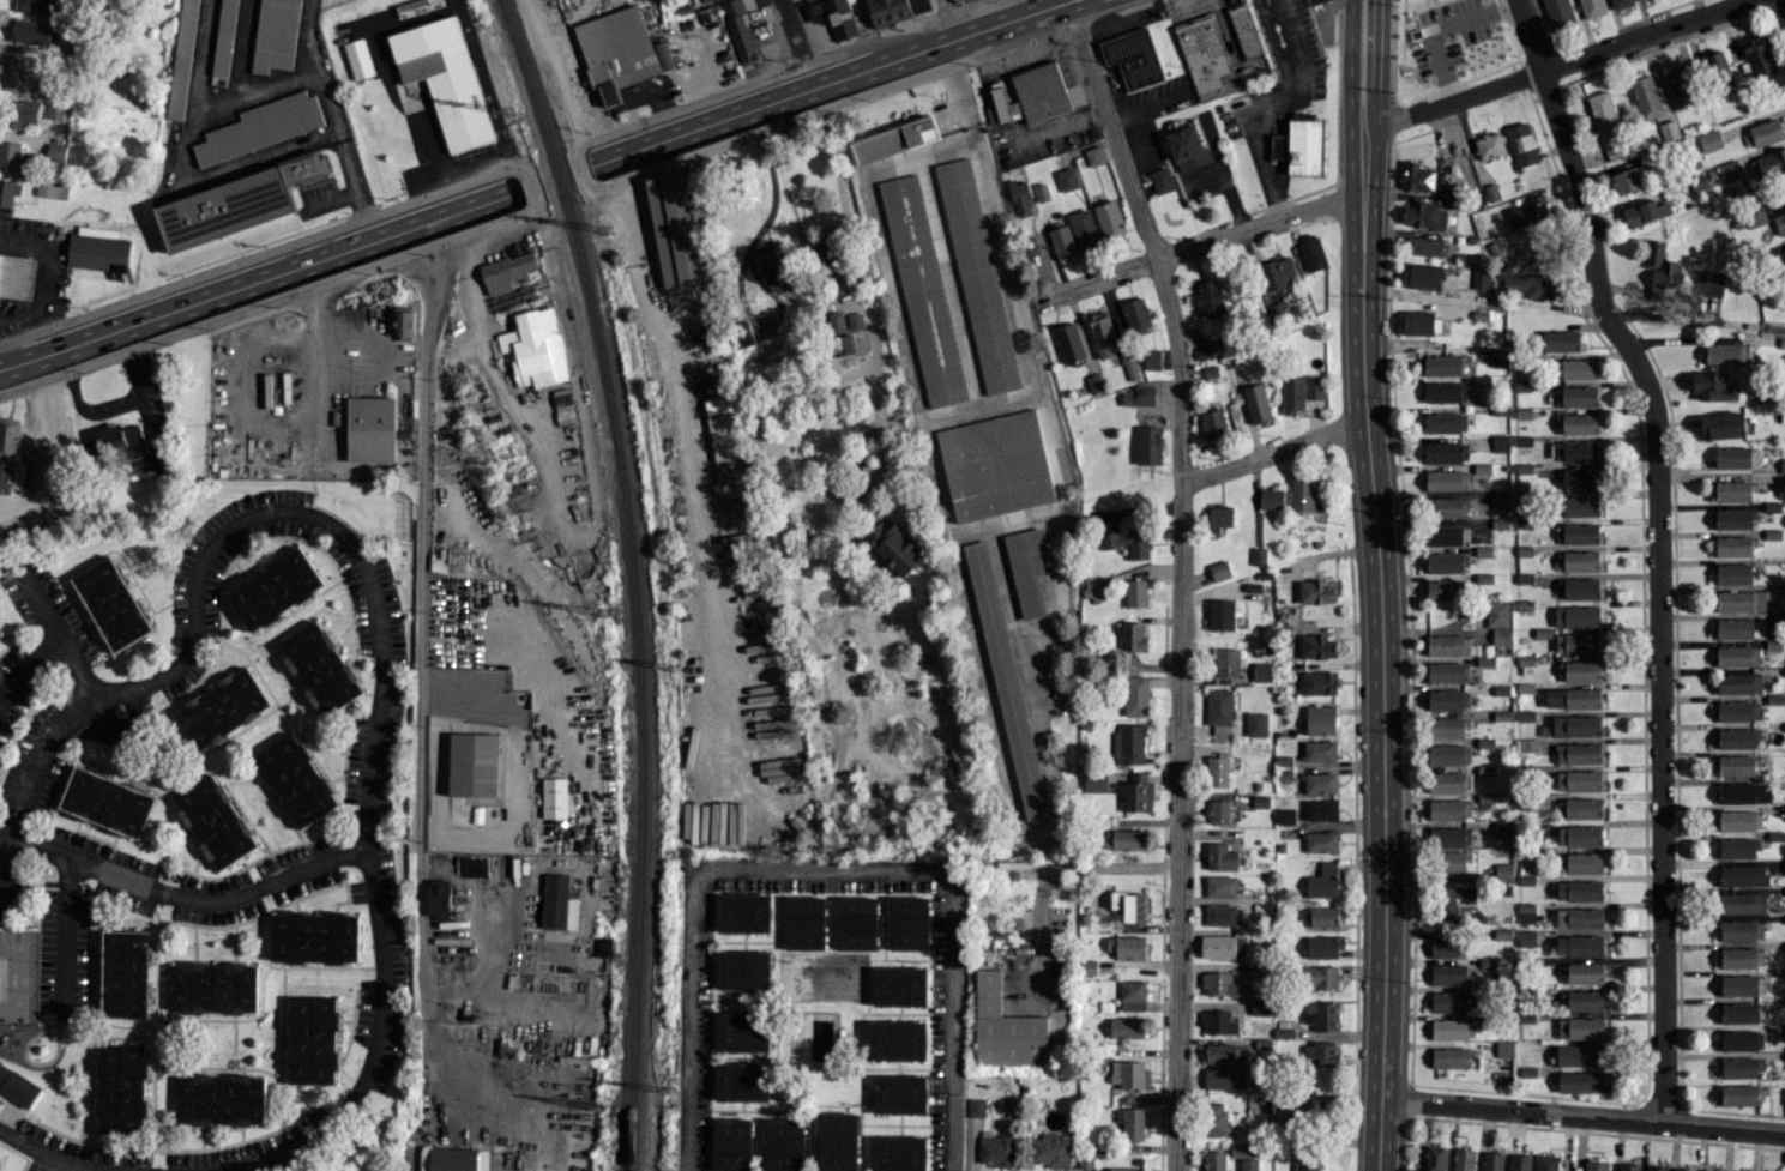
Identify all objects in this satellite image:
building: (706, 0)
building: (1640, 0)
building: (1314, 1)
building: (1621, 4)
building: (919, 5)
road: (1051, 5)
road: (1783, 5)
building: (34, 6)
building: (1590, 8)
building: (888, 11)
building: (1558, 13)
building: (833, 16)
building: (1244, 29)
road: (1443, 29)
road: (982, 30)
building: (32, 31)
building: (740, 31)
road: (790, 32)
building: (275, 35)
building: (223, 42)
building: (620, 50)
building: (1759, 55)
building: (358, 59)
building: (1134, 59)
building: (1207, 59)
building: (182, 60)
road: (1349, 64)
road: (1555, 64)
road: (1379, 65)
road: (555, 71)
building: (1720, 73)
building: (19, 77)
railway: (526, 78)
building: (445, 79)
road: (744, 84)
building: (1681, 85)
building: (1039, 92)
building: (1646, 97)
road: (1259, 99)
building: (997, 105)
building: (54, 109)
road: (1145, 109)
power tower: (508, 110)
road: (815, 111)
building: (19, 113)
building: (1608, 125)
building: (261, 126)
building: (1669, 131)
building: (1762, 133)
building: (893, 139)
building: (1709, 140)
building: (1521, 144)
building: (1489, 145)
building: (1186, 146)
building: (1304, 147)
building: (55, 151)
building: (8, 155)
building: (1094, 155)
building: (1768, 164)
road: (579, 169)
building: (1730, 170)
railway: (559, 175)
building: (1421, 177)
building: (1067, 179)
building: (1162, 180)
building: (1628, 180)
road: (529, 186)
building: (50, 187)
building: (8, 192)
road: (776, 193)
building: (1020, 198)
building: (237, 203)
road: (463, 209)
building: (1530, 212)
building: (1645, 212)
road: (845, 215)
building: (1424, 215)
building: (1756, 215)
building: (1110, 218)
building: (1780, 223)
road: (623, 225)
building: (680, 228)
power tower: (605, 230)
building: (1084, 230)
road: (1202, 241)
building: (1062, 242)
building: (1427, 247)
building: (98, 252)
road: (258, 253)
building: (0, 254)
building: (1313, 254)
building: (507, 271)
building: (776, 271)
building: (1663, 272)
building: (1277, 273)
building: (16, 276)
building: (978, 276)
building: (1422, 276)
building: (1481, 278)
building: (1708, 282)
building: (1526, 284)
building: (923, 290)
building: (1208, 300)
road: (270, 301)
building: (1277, 310)
building: (1136, 315)
building: (855, 320)
building: (402, 321)
building: (836, 321)
road: (1696, 321)
building: (1418, 322)
road: (766, 326)
building: (742, 333)
building: (1103, 334)
building: (1560, 340)
building: (1069, 342)
building: (1207, 349)
building: (1727, 354)
road: (319, 358)
building: (1442, 364)
building: (1574, 368)
road: (358, 370)
building: (754, 373)
building: (1711, 385)
road: (500, 386)
building: (1301, 391)
building: (1445, 391)
building: (1139, 394)
building: (1579, 397)
building: (1256, 403)
building: (1446, 422)
building: (1579, 423)
building: (1213, 424)
building: (1724, 425)
building: (370, 429)
building: (8, 435)
building: (120, 439)
building: (1500, 442)
building: (1148, 445)
building: (1574, 451)
road: (1272, 452)
building: (1446, 452)
building: (1737, 457)
building: (996, 465)
building: (1783, 465)
building: (11, 476)
building: (1446, 479)
building: (1581, 479)
building: (1731, 491)
building: (1302, 494)
road: (689, 497)
building: (1271, 499)
park: (367, 506)
building: (1580, 506)
building: (1443, 507)
building: (1219, 518)
building: (1733, 519)
building: (1580, 533)
building: (1446, 535)
building: (1128, 542)
building: (1733, 545)
building: (893, 547)
road: (1656, 548)
building: (1580, 560)
building: (1447, 562)
building: (1026, 568)
building: (1733, 573)
road: (1178, 577)
building: (1580, 587)
building: (275, 588)
building: (1446, 590)
building: (1096, 591)
building: (1315, 591)
building: (1135, 592)
building: (1741, 600)
building: (111, 604)
power tower: (603, 614)
building: (1497, 614)
building: (1220, 615)
building: (1576, 615)
building: (1741, 628)
road: (58, 636)
building: (1130, 636)
building: (1501, 636)
building: (1578, 644)
building: (1448, 645)
building: (1316, 646)
road: (1381, 648)
building: (1735, 656)
building: (1225, 662)
road: (25, 665)
power tower: (668, 665)
building: (321, 668)
building: (1582, 670)
building: (1261, 671)
building: (1447, 671)
railway: (634, 678)
building: (1007, 680)
building: (1319, 682)
building: (1739, 683)
road: (134, 688)
building: (1135, 695)
building: (1573, 698)
building: (1448, 699)
road: (420, 700)
building: (223, 708)
building: (1218, 711)
building: (1739, 711)
building: (1320, 719)
building: (1256, 724)
building: (1576, 725)
building: (1448, 728)
building: (1737, 738)
building: (1129, 743)
building: (1319, 750)
building: (1579, 753)
building: (1449, 754)
building: (474, 765)
building: (1736, 766)
building: (1217, 771)
building: (295, 780)
building: (1579, 780)
building: (1449, 781)
building: (1096, 783)
building: (1320, 783)
building: (1135, 792)
building: (1741, 792)
building: (555, 797)
building: (108, 802)
building: (1579, 808)
building: (1320, 809)
building: (1449, 809)
building: (1284, 816)
building: (1739, 820)
building: (215, 821)
building: (1503, 828)
building: (1579, 835)
building: (1451, 837)
road: (366, 839)
building: (1123, 839)
building: (1321, 841)
building: (1738, 847)
building: (1222, 856)
building: (1452, 861)
building: (1582, 863)
building: (471, 867)
road: (1059, 869)
building: (1503, 873)
building: (1743, 875)
building: (1322, 881)
building: (1222, 887)
building: (1579, 891)
road: (182, 893)
road: (948, 894)
building: (439, 899)
building: (1112, 899)
building: (1455, 900)
building: (557, 903)
building: (1742, 903)
building: (1134, 907)
building: (1526, 912)
building: (743, 913)
building: (1220, 915)
building: (1319, 917)
building: (1579, 917)
building: (806, 923)
building: (858, 924)
building: (910, 924)
road: (64, 930)
building: (1741, 930)
building: (314, 937)
building: (1526, 937)
building: (1127, 946)
building: (1220, 946)
building: (1580, 946)
building: (1323, 947)
building: (1447, 947)
building: (1741, 958)
building: (743, 970)
building: (1586, 972)
building: (125, 973)
building: (1449, 974)
building: (1320, 977)
building: (1223, 984)
building: (1743, 984)
building: (900, 986)
building: (212, 988)
building: (1132, 990)
building: (1585, 1000)
building: (1453, 1002)
building: (1132, 1006)
building: (1259, 1008)
building: (1739, 1013)
building: (1321, 1015)
road: (689, 1021)
building: (1218, 1022)
building: (1006, 1027)
building: (1127, 1027)
building: (1581, 1027)
building: (1283, 1028)
building: (1449, 1030)
building: (743, 1032)
building: (312, 1039)
building: (897, 1040)
building: (1742, 1040)
building: (1506, 1048)
building: (1229, 1054)
building: (1581, 1055)
building: (1451, 1057)
building: (1322, 1062)
building: (1741, 1067)
building: (1129, 1074)
building: (1228, 1078)
building: (743, 1082)
building: (17, 1086)
building: (120, 1088)
power tower: (663, 1091)
building: (899, 1094)
building: (1743, 1094)
building: (1784, 1097)
building: (221, 1099)
building: (976, 1106)
power tower: (599, 1109)
building: (1297, 1109)
road: (1582, 1115)
building: (1214, 1118)
building: (1130, 1122)
building: (837, 1142)
building: (732, 1145)
building: (784, 1145)
park: (358, 1147)
building: (997, 1149)
building: (1050, 1149)
building: (1241, 1151)
road: (44, 1153)
building: (899, 1153)
building: (1435, 1158)
building: (453, 1159)
building: (1305, 1159)
building: (1464, 1159)
building: (1214, 1160)
building: (1492, 1160)
building: (1520, 1161)
building: (1546, 1163)
building: (1249, 1164)
building: (1596, 1165)
building: (1629, 1166)
building: (1657, 1167)
building: (1126, 1169)
building: (1683, 1169)
building: (1709, 1170)

